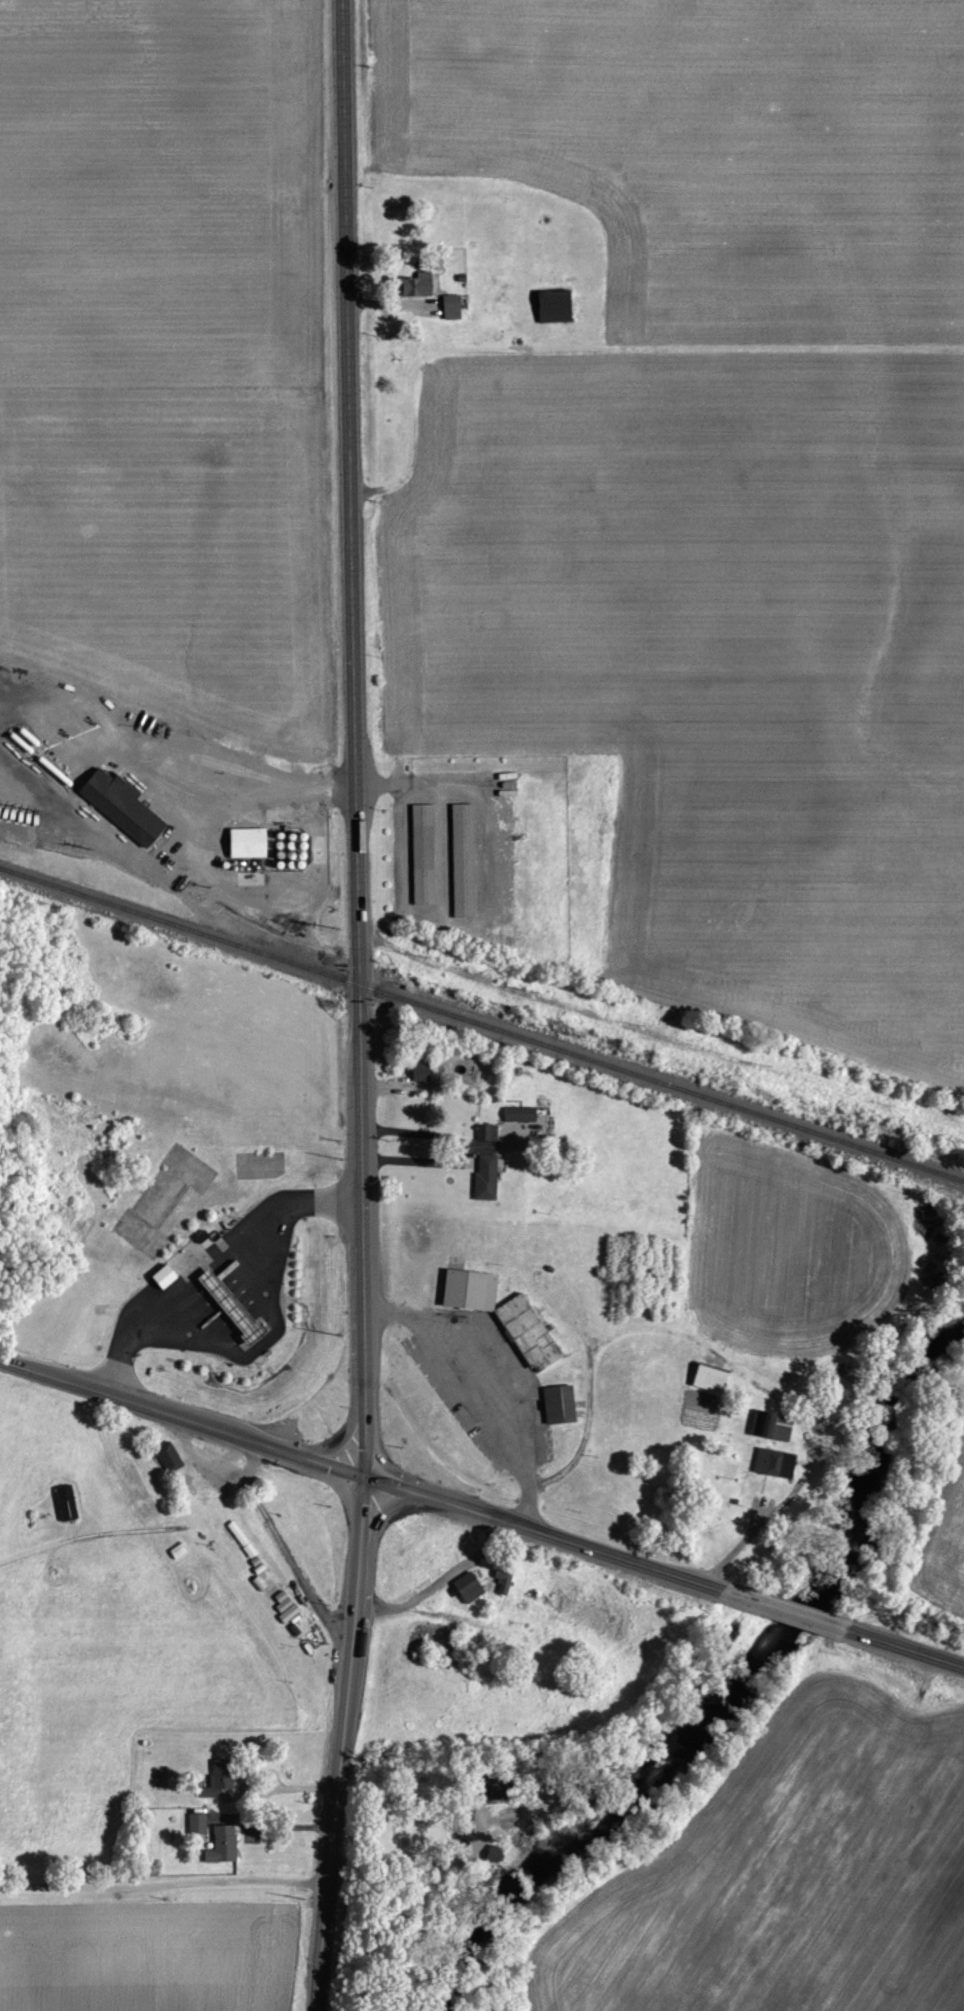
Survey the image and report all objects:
building: (413, 284)
building: (550, 305)
building: (449, 306)
building: (118, 804)
building: (420, 854)
building: (460, 860)
road: (361, 1006)
railway: (482, 1022)
building: (418, 1070)
building: (517, 1113)
building: (484, 1131)
road: (457, 1147)
building: (483, 1175)
road: (199, 1263)
building: (160, 1275)
building: (466, 1288)
building: (229, 1308)
building: (526, 1333)
road: (269, 1335)
road: (716, 1356)
building: (706, 1377)
road: (474, 1392)
building: (556, 1403)
building: (768, 1424)
building: (166, 1456)
building: (771, 1462)
road: (213, 1466)
road: (362, 1474)
building: (64, 1501)
building: (239, 1538)
road: (288, 1561)
building: (500, 1579)
road: (436, 1580)
building: (465, 1586)
building: (284, 1606)
road: (786, 1609)
road: (906, 1647)
building: (217, 1777)
building: (195, 1822)
building: (220, 1844)
building: (492, 1853)
road: (416, 1861)
road: (164, 1881)

